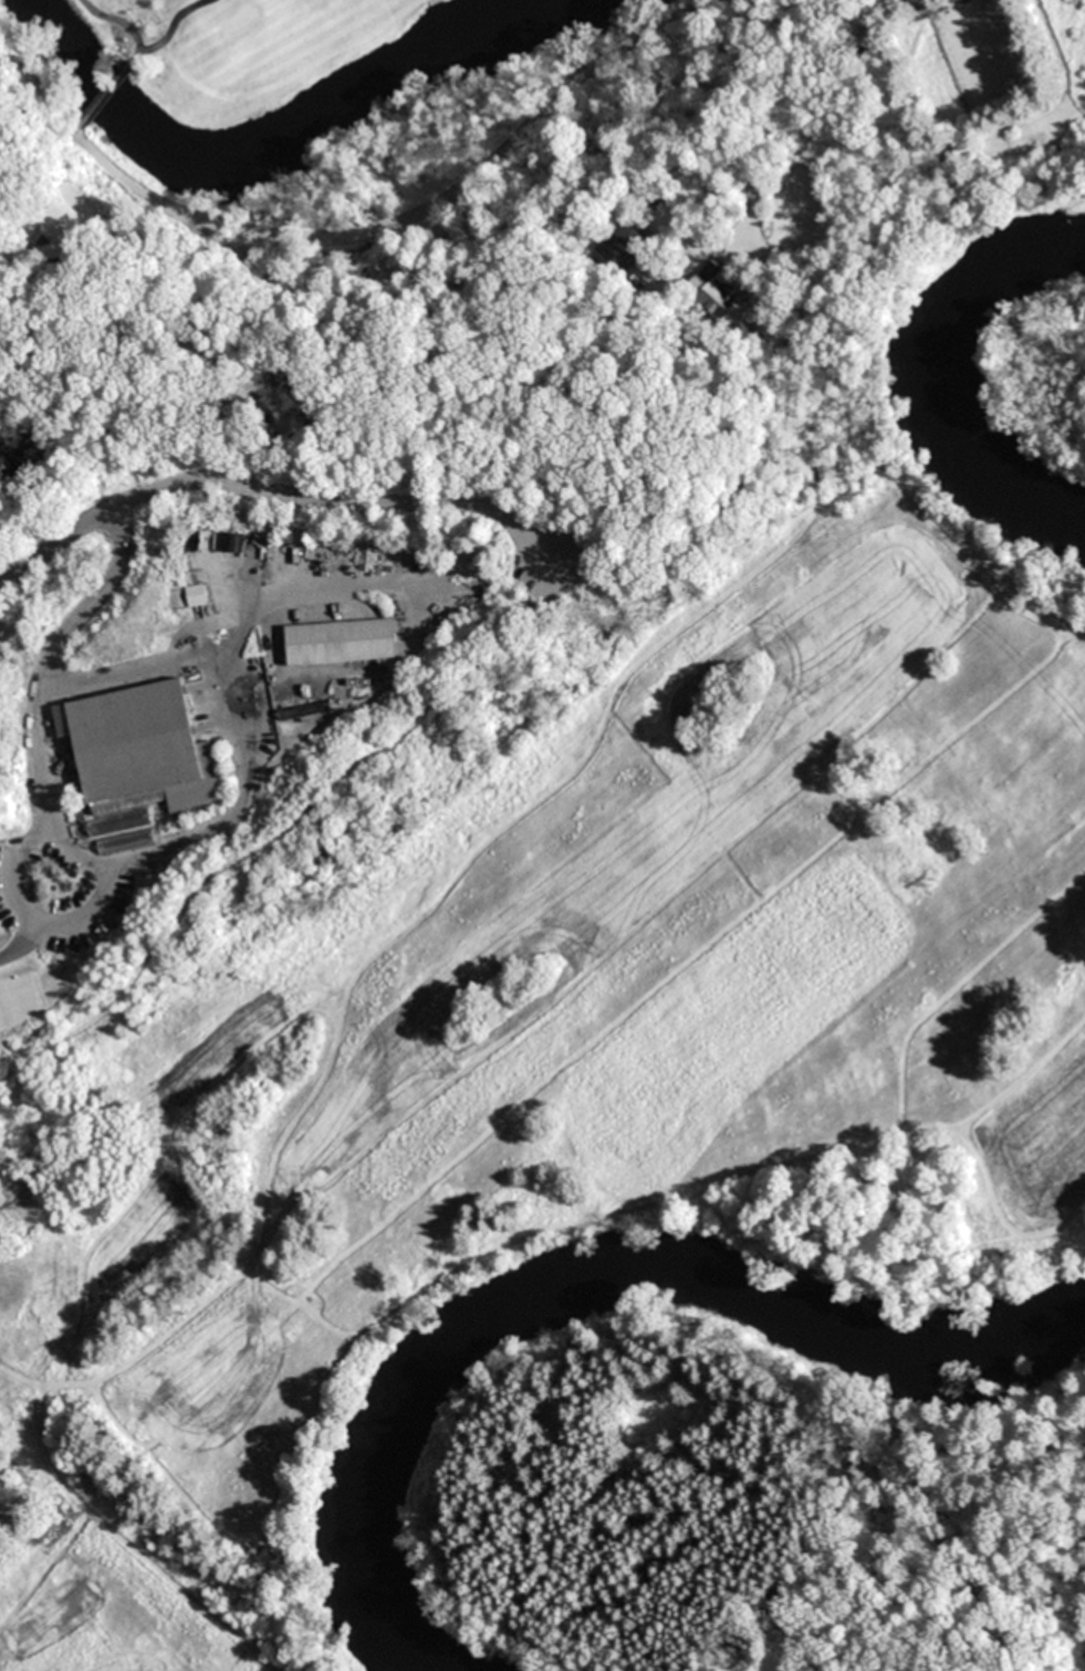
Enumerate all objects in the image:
road: (135, 38)
road: (107, 91)
road: (790, 105)
river: (288, 145)
road: (354, 235)
building: (627, 239)
building: (722, 295)
river: (939, 375)
road: (273, 494)
building: (196, 595)
building: (342, 641)
park: (489, 722)
building: (139, 748)
road: (132, 855)
river: (573, 1276)

